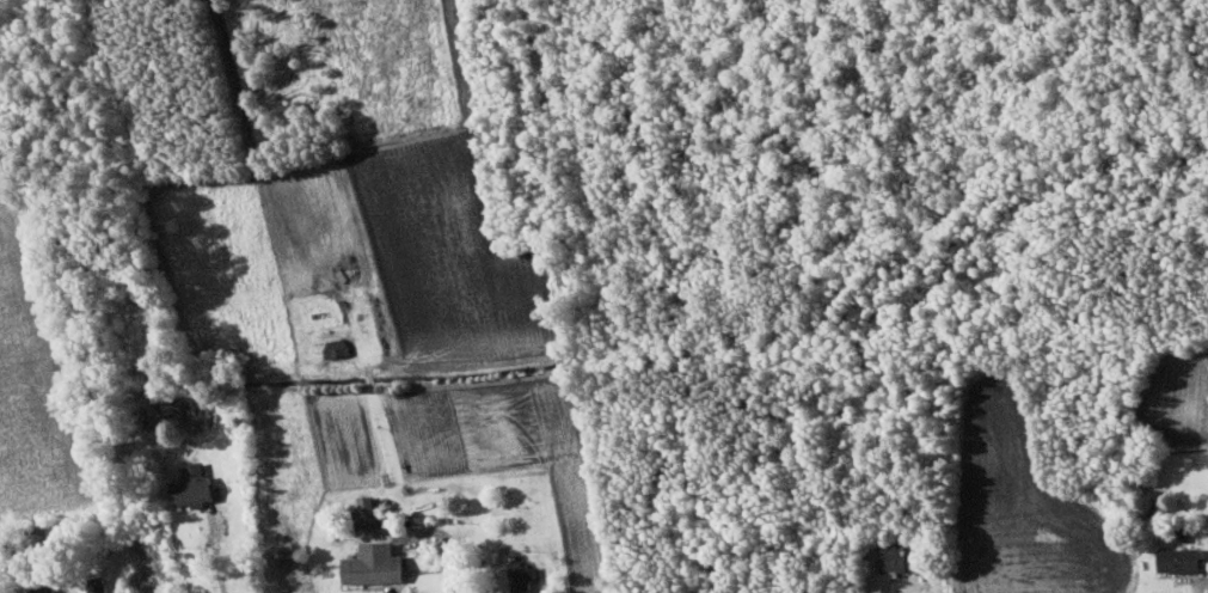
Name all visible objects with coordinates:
building: (165, 410)
building: (195, 484)
building: (370, 512)
building: (1183, 560)
building: (376, 563)
building: (525, 577)
building: (100, 587)
building: (45, 589)

